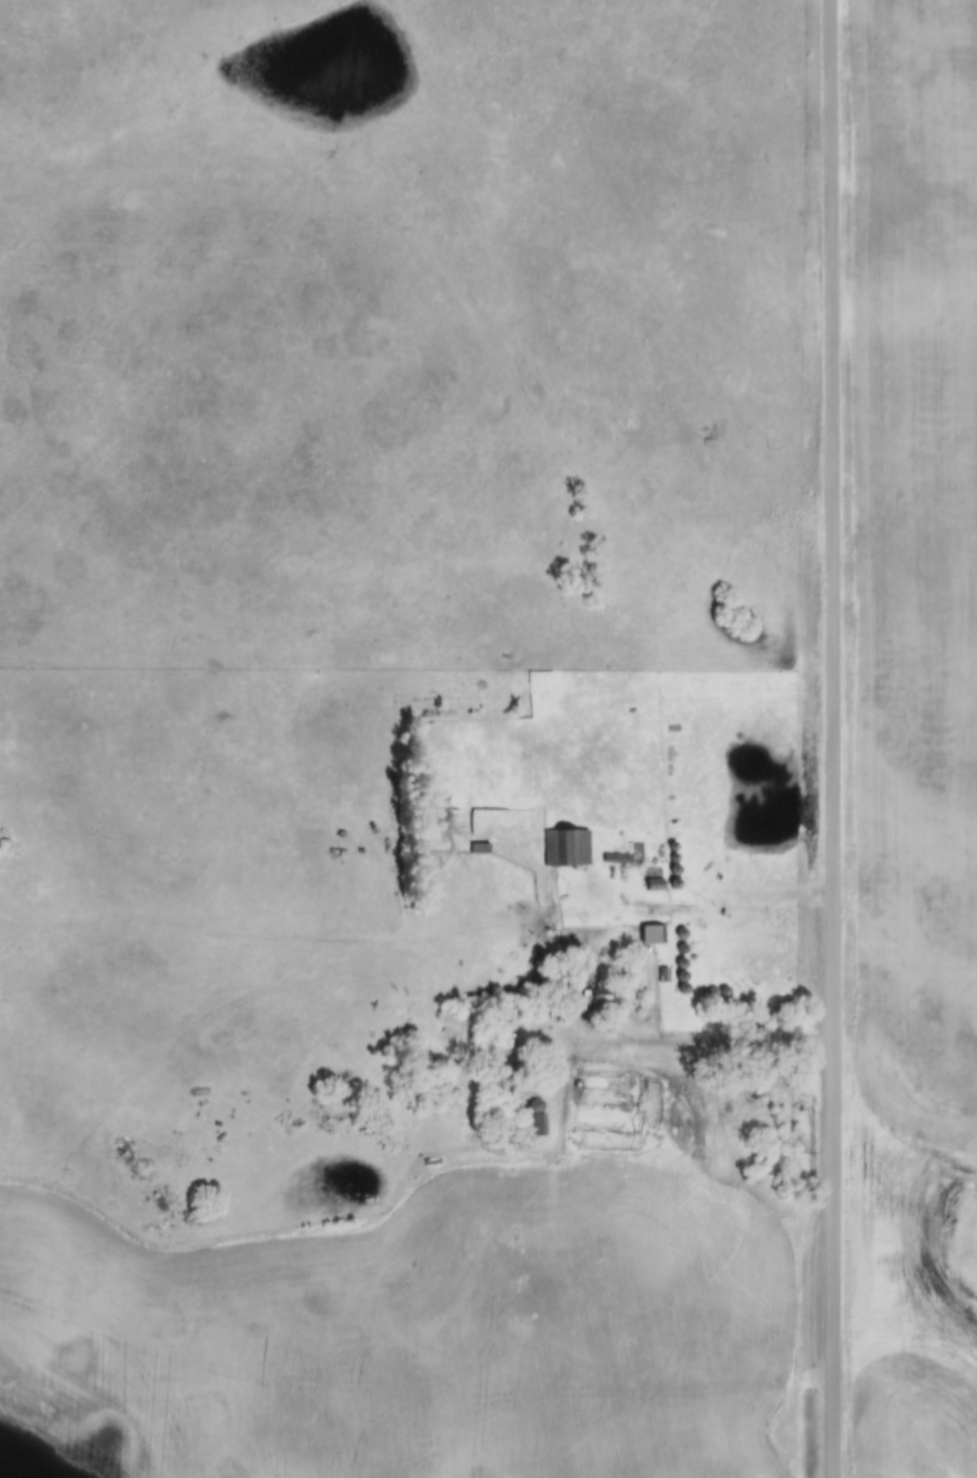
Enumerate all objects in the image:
road: (832, 739)
building: (440, 806)
building: (572, 839)
building: (618, 861)
building: (655, 888)
road: (720, 905)
building: (653, 937)
building: (596, 997)
building: (509, 1041)
road: (691, 1043)
building: (538, 1120)

